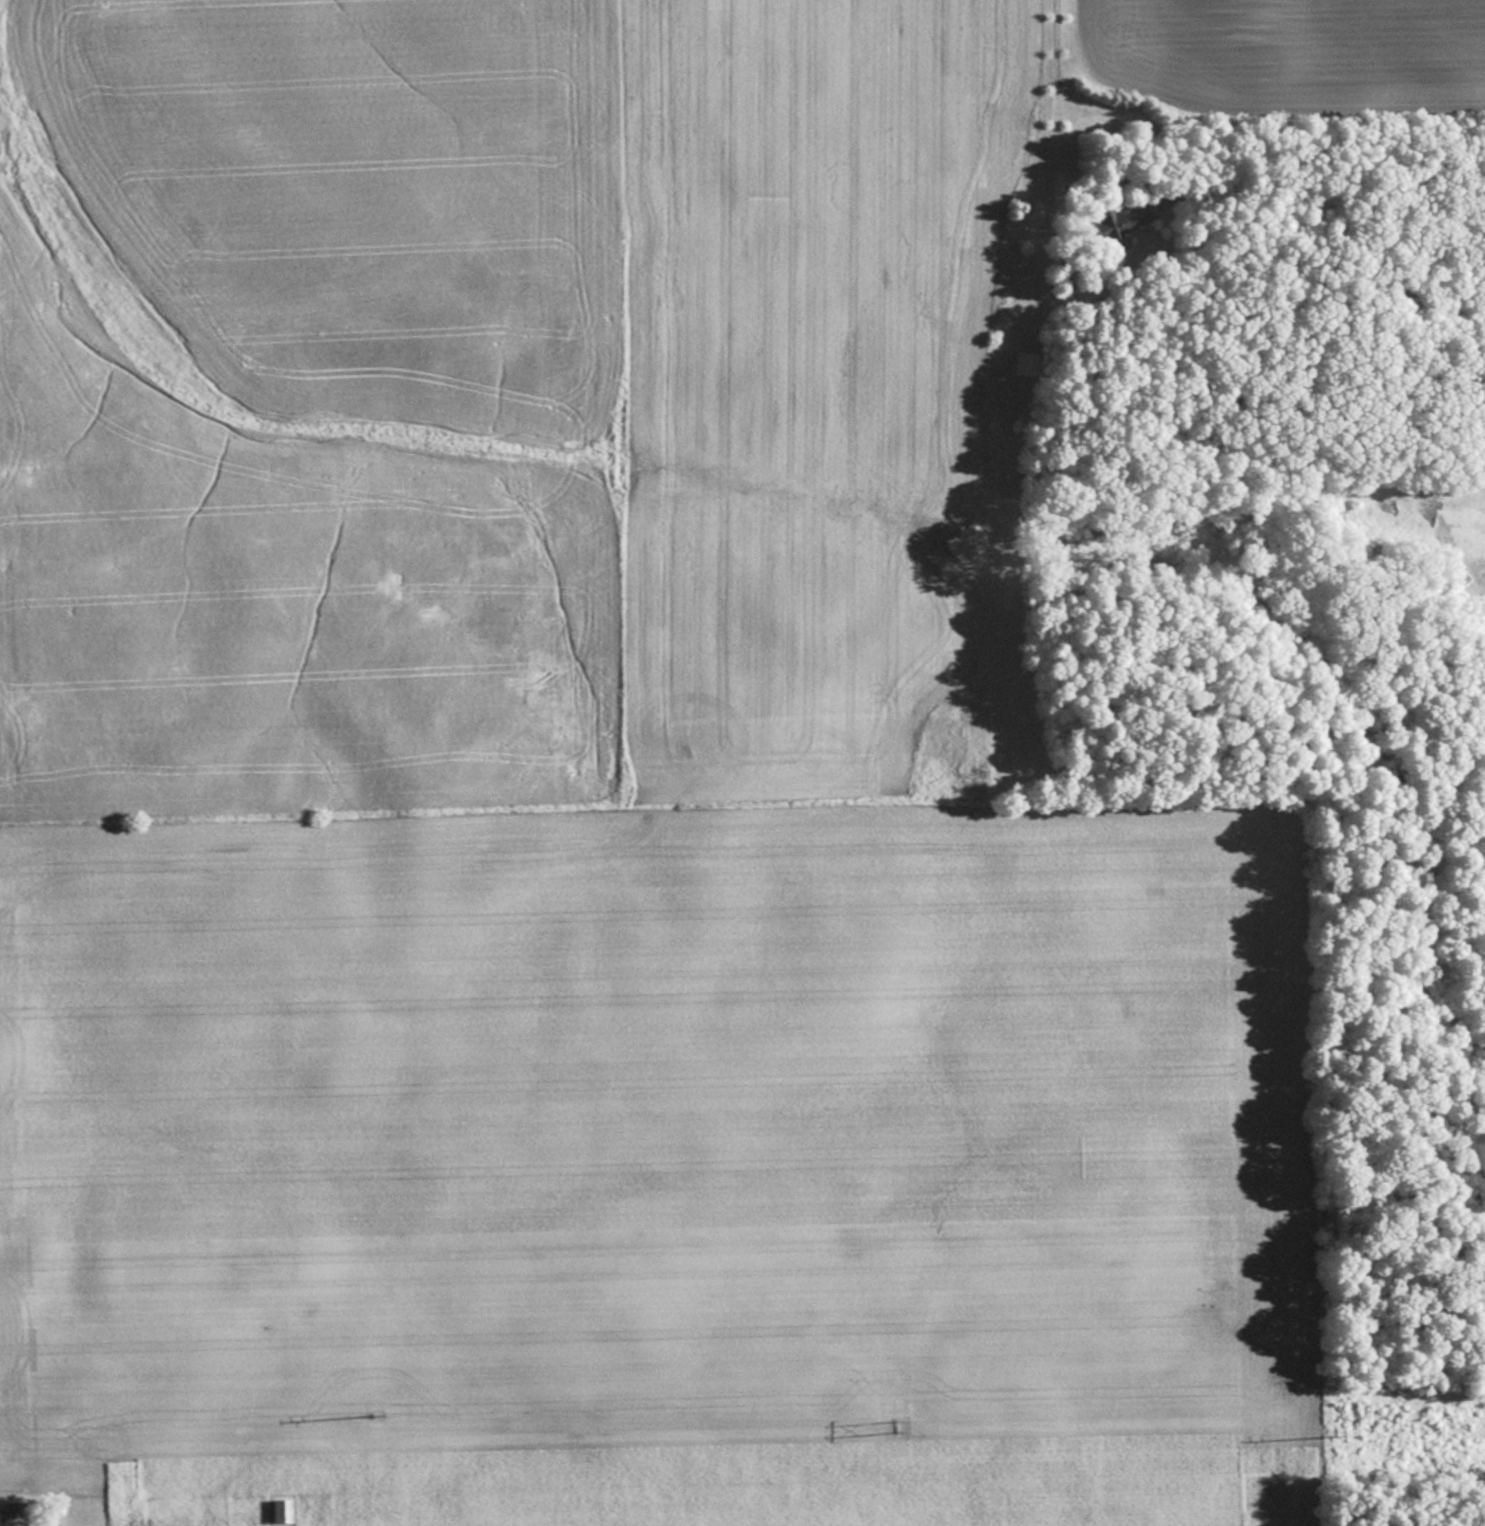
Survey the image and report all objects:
road: (1049, 89)
building: (1119, 221)
power tower: (368, 1413)
power tower: (896, 1428)
power tower: (1331, 1432)
building: (285, 1509)
building: (1, 1517)

